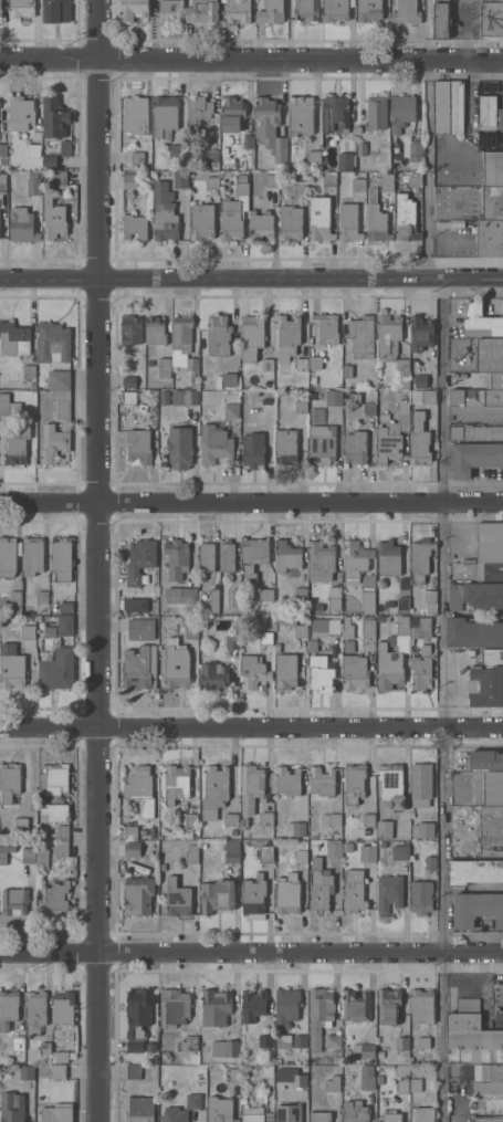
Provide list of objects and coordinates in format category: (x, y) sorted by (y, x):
building: (20, 8)
building: (0, 9)
building: (133, 9)
building: (336, 9)
building: (55, 10)
building: (170, 10)
building: (238, 10)
building: (305, 10)
building: (368, 10)
building: (201, 11)
building: (269, 11)
building: (405, 12)
building: (491, 19)
building: (440, 20)
road: (251, 61)
building: (448, 107)
building: (19, 112)
building: (400, 112)
building: (375, 113)
building: (489, 113)
building: (137, 114)
building: (232, 114)
building: (197, 115)
building: (300, 115)
building: (334, 115)
building: (52, 116)
building: (164, 116)
building: (269, 126)
road: (430, 139)
building: (248, 141)
building: (65, 148)
building: (2, 149)
building: (33, 149)
building: (360, 149)
building: (415, 150)
building: (176, 151)
building: (211, 155)
building: (313, 156)
building: (136, 157)
building: (295, 158)
building: (2, 161)
building: (49, 161)
building: (345, 161)
building: (492, 169)
building: (59, 177)
building: (242, 177)
building: (327, 178)
building: (413, 179)
building: (129, 180)
building: (180, 180)
building: (270, 180)
building: (386, 181)
building: (211, 182)
building: (357, 185)
building: (33, 186)
building: (2, 187)
building: (300, 187)
building: (492, 202)
building: (164, 212)
building: (233, 212)
building: (52, 217)
building: (375, 218)
building: (405, 218)
building: (319, 219)
building: (201, 221)
building: (290, 222)
building: (347, 222)
building: (21, 224)
building: (261, 224)
building: (134, 226)
building: (3, 237)
building: (490, 238)
road: (251, 283)
building: (480, 321)
building: (325, 328)
building: (129, 329)
building: (155, 331)
building: (420, 331)
building: (217, 335)
building: (251, 336)
building: (286, 336)
building: (360, 336)
building: (387, 336)
building: (13, 338)
building: (52, 343)
building: (184, 345)
building: (489, 355)
building: (314, 361)
building: (266, 365)
building: (301, 365)
building: (164, 367)
building: (28, 371)
building: (346, 371)
building: (401, 374)
building: (453, 376)
building: (462, 376)
building: (229, 378)
building: (59, 379)
building: (312, 379)
building: (493, 380)
building: (128, 381)
building: (420, 381)
building: (128, 397)
building: (178, 397)
building: (428, 397)
building: (475, 397)
building: (333, 398)
building: (352, 398)
building: (8, 406)
building: (300, 407)
building: (367, 409)
building: (230, 410)
building: (48, 427)
building: (474, 432)
building: (392, 436)
building: (418, 439)
building: (213, 443)
building: (321, 443)
building: (138, 445)
building: (14, 447)
building: (285, 447)
building: (179, 448)
building: (355, 448)
building: (252, 450)
building: (474, 458)
road: (251, 504)
road: (443, 504)
building: (490, 543)
building: (33, 555)
building: (228, 556)
building: (253, 556)
building: (286, 556)
building: (7, 557)
building: (177, 557)
building: (208, 557)
building: (62, 558)
building: (388, 558)
building: (139, 559)
building: (420, 559)
road: (96, 560)
building: (355, 560)
building: (321, 562)
building: (490, 572)
building: (405, 584)
building: (300, 594)
building: (182, 595)
building: (483, 595)
building: (266, 596)
building: (454, 596)
building: (43, 597)
building: (234, 597)
building: (334, 597)
building: (213, 600)
building: (367, 600)
building: (429, 600)
building: (15, 601)
building: (136, 605)
building: (402, 605)
building: (66, 607)
building: (39, 617)
building: (380, 618)
building: (285, 619)
building: (65, 625)
building: (28, 626)
building: (190, 626)
building: (325, 627)
building: (368, 627)
building: (420, 627)
building: (347, 628)
building: (142, 629)
building: (50, 631)
building: (301, 631)
building: (473, 632)
building: (265, 638)
building: (233, 642)
building: (313, 644)
building: (348, 646)
building: (277, 648)
building: (416, 651)
building: (394, 656)
building: (11, 665)
building: (140, 668)
building: (177, 668)
building: (422, 669)
building: (57, 670)
building: (253, 671)
building: (286, 671)
building: (321, 672)
building: (355, 673)
building: (214, 674)
building: (486, 680)
road: (251, 728)
building: (486, 758)
building: (56, 778)
building: (9, 780)
building: (287, 780)
building: (322, 780)
building: (421, 780)
building: (177, 783)
building: (354, 783)
building: (392, 785)
building: (251, 787)
building: (494, 788)
building: (142, 789)
building: (214, 790)
building: (55, 811)
building: (188, 819)
building: (231, 819)
building: (266, 819)
building: (334, 819)
building: (368, 819)
building: (21, 824)
building: (298, 826)
building: (385, 829)
building: (366, 830)
building: (426, 830)
building: (492, 830)
building: (130, 831)
building: (143, 831)
building: (62, 832)
building: (195, 832)
building: (233, 832)
building: (45, 839)
building: (384, 843)
building: (347, 847)
building: (62, 848)
building: (133, 849)
building: (6, 850)
building: (334, 850)
building: (232, 851)
building: (400, 852)
building: (266, 853)
building: (367, 853)
building: (191, 854)
building: (28, 856)
building: (301, 856)
building: (42, 857)
building: (316, 861)
building: (431, 863)
building: (163, 867)
building: (474, 871)
building: (321, 890)
building: (354, 890)
building: (389, 892)
building: (287, 893)
building: (138, 895)
building: (218, 895)
building: (421, 896)
building: (57, 898)
building: (177, 898)
building: (253, 898)
building: (14, 901)
building: (476, 909)
road: (443, 924)
road: (251, 957)
building: (252, 1005)
building: (422, 1005)
building: (63, 1006)
building: (177, 1006)
building: (356, 1006)
building: (389, 1006)
building: (216, 1007)
building: (286, 1007)
building: (8, 1008)
building: (35, 1010)
building: (319, 1015)
building: (138, 1017)
building: (471, 1037)
building: (265, 1040)
building: (333, 1040)
building: (283, 1041)
building: (300, 1041)
building: (18, 1042)
building: (423, 1042)
building: (402, 1044)
building: (187, 1047)
building: (45, 1048)
building: (224, 1048)
building: (364, 1050)
building: (380, 1053)
building: (61, 1057)
building: (336, 1059)
building: (277, 1060)
building: (184, 1068)
building: (337, 1068)
building: (57, 1071)
building: (133, 1071)
building: (266, 1071)
building: (27, 1072)
building: (489, 1072)
building: (232, 1074)
building: (291, 1077)
building: (367, 1078)
building: (378, 1079)
building: (197, 1081)
building: (332, 1082)
building: (404, 1084)
building: (416, 1084)
building: (489, 1090)
building: (12, 1107)
building: (490, 1107)
building: (181, 1109)
building: (139, 1110)
building: (220, 1110)
building: (355, 1111)
building: (289, 1113)
building: (53, 1114)
building: (252, 1114)
building: (423, 1114)
building: (319, 1116)
building: (392, 1116)
building: (489, 1119)

